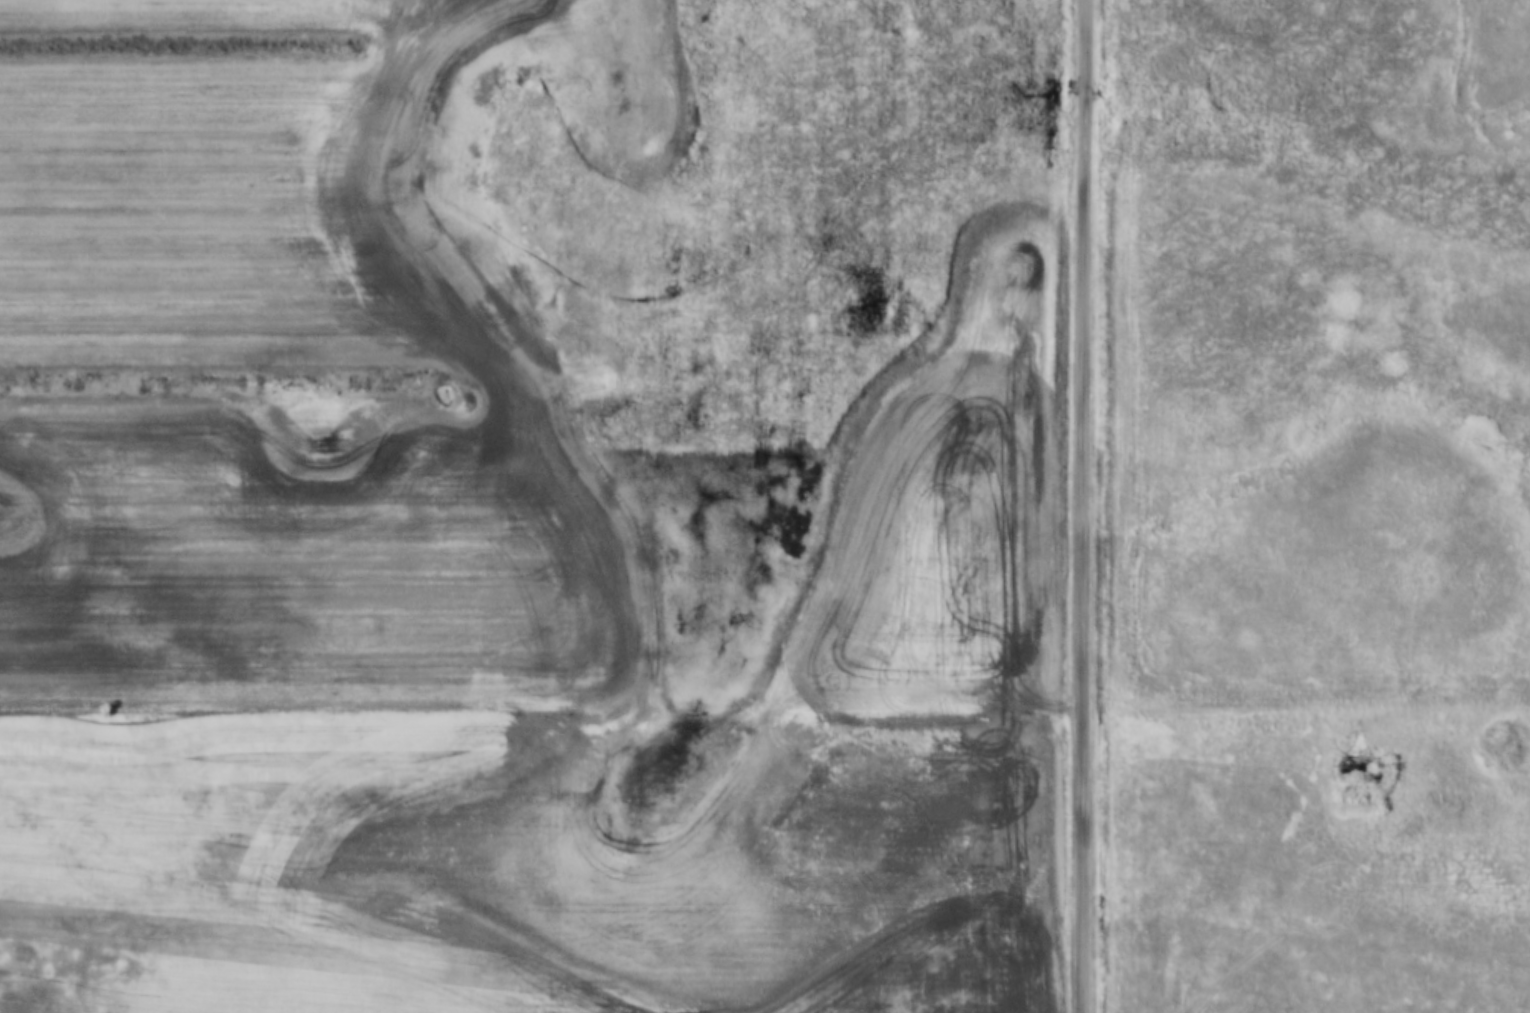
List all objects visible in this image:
road: (1081, 506)

